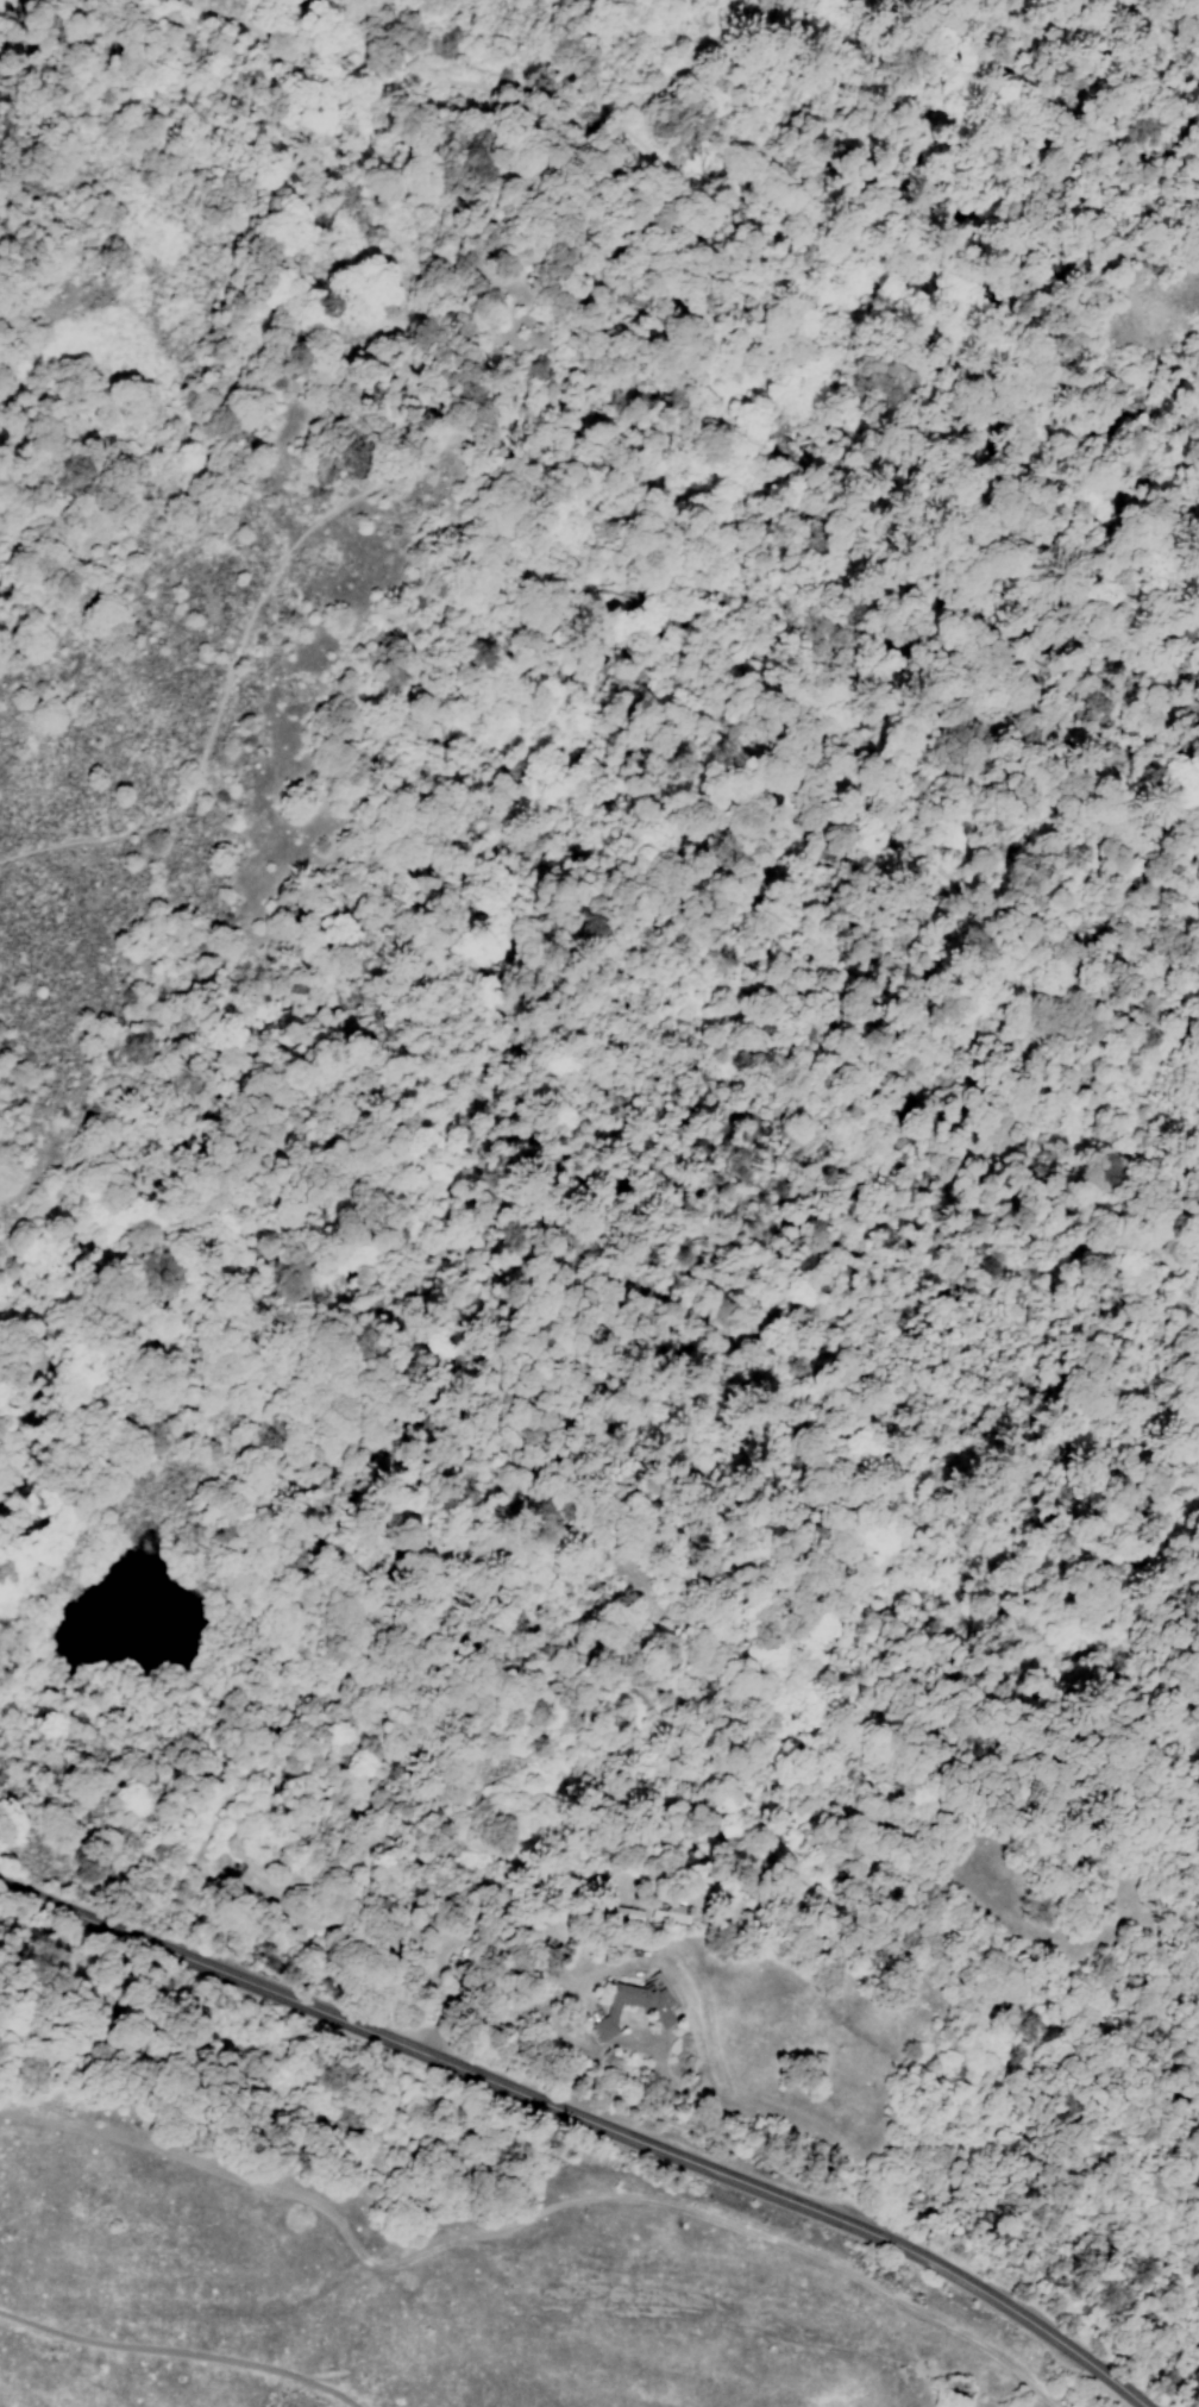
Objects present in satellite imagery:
road: (365, 491)
road: (622, 601)
building: (671, 1912)
building: (636, 1913)
road: (266, 1991)
building: (635, 2004)
road: (850, 2226)
road: (178, 2353)

